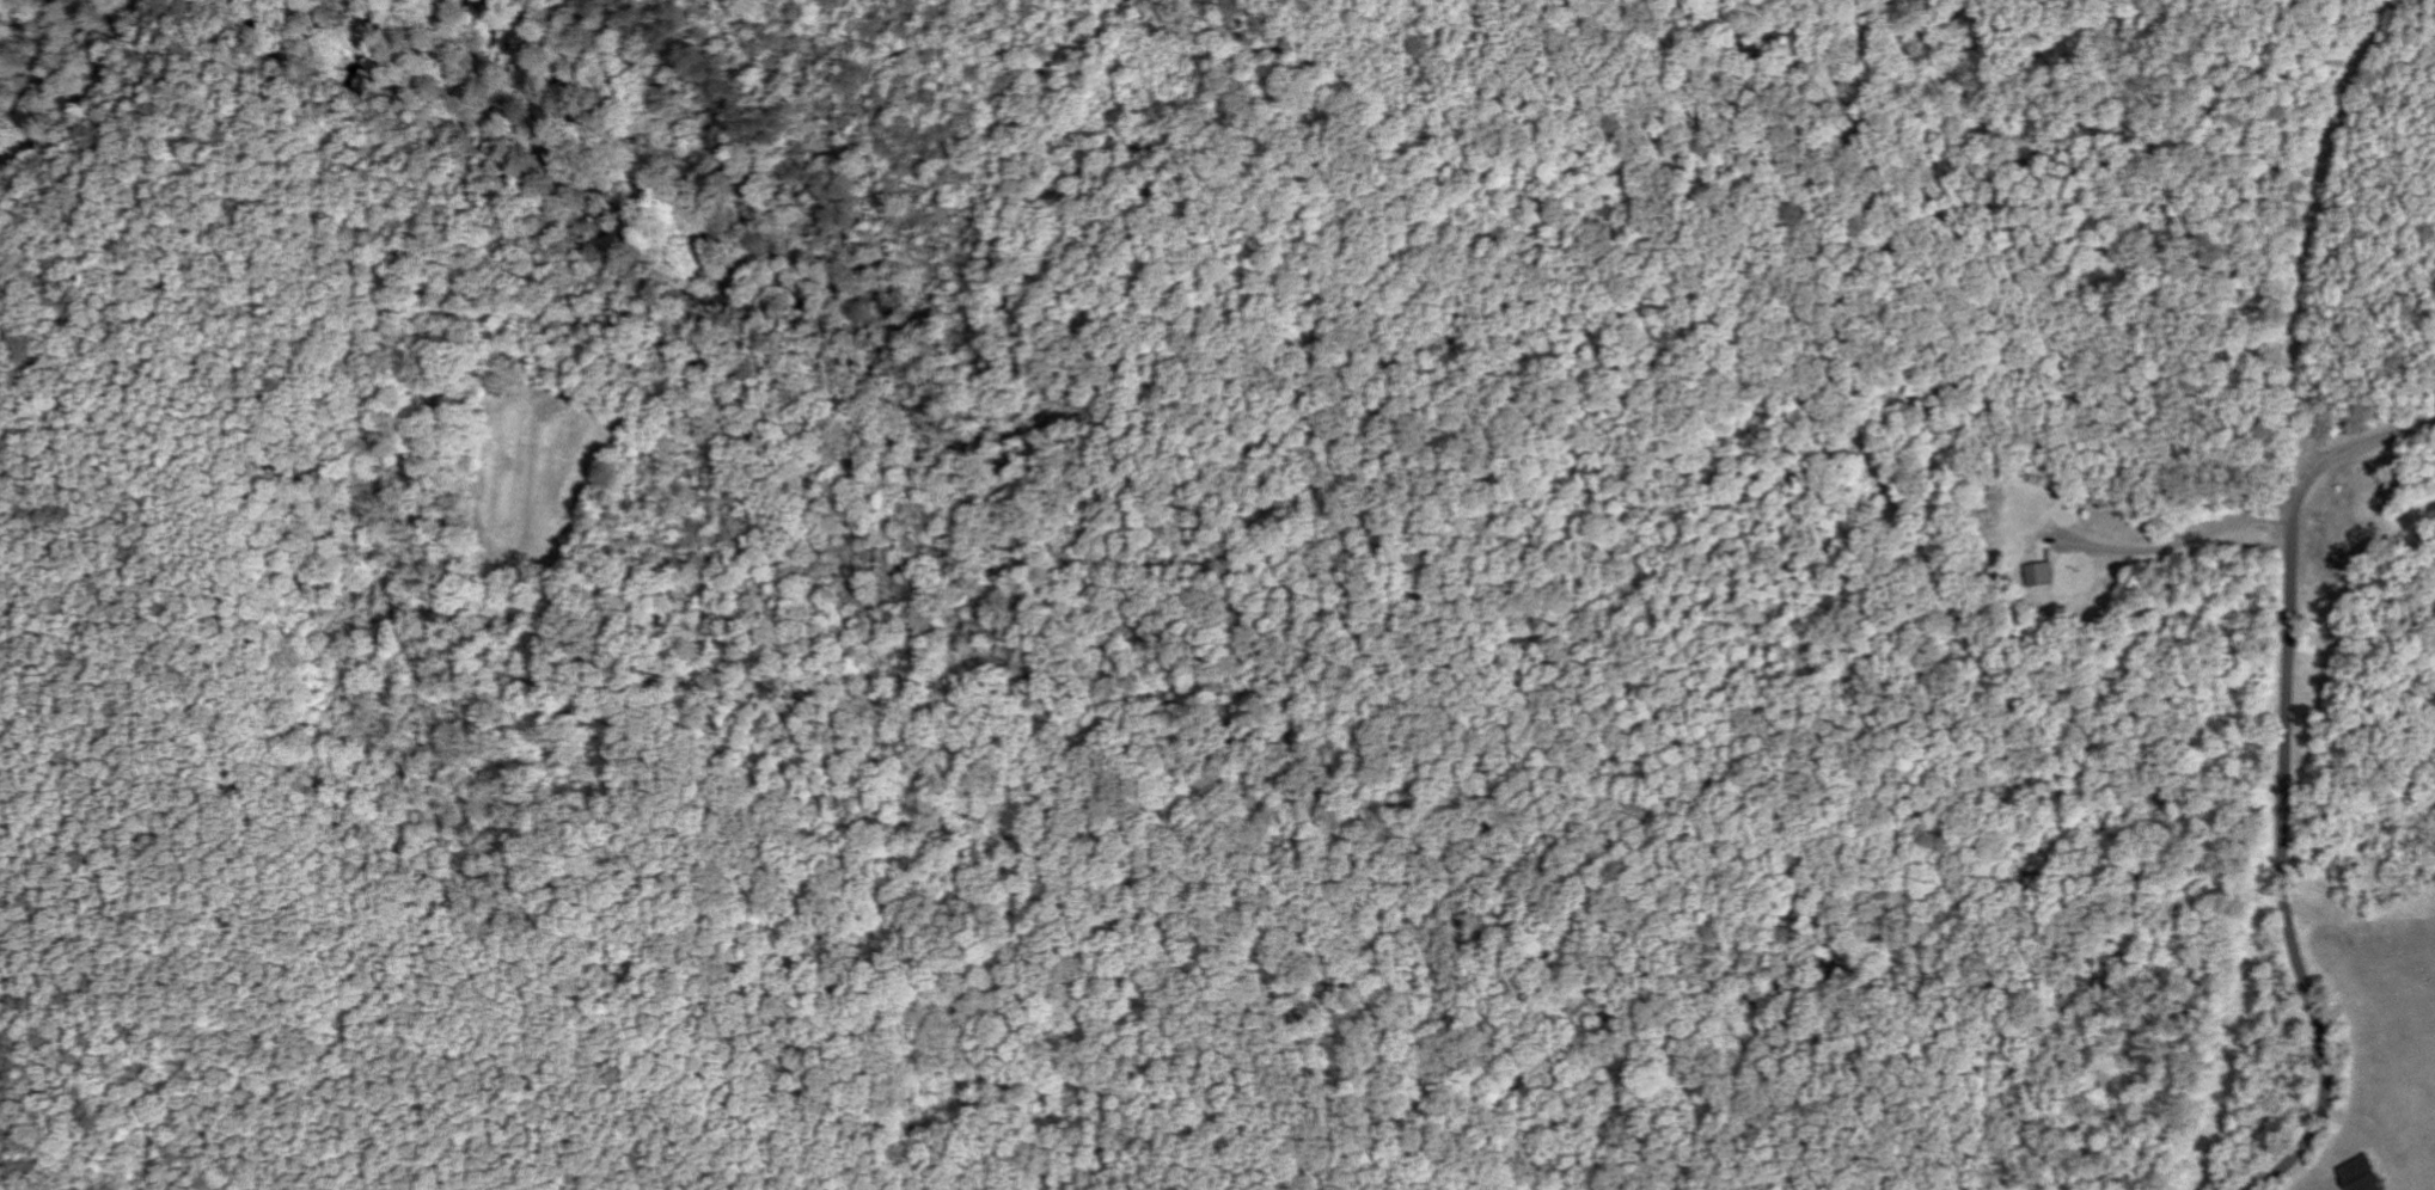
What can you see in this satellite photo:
park: (24, 20)
park: (715, 106)
road: (2366, 444)
road: (2185, 542)
building: (2044, 576)
road: (2293, 599)
building: (2366, 1176)

